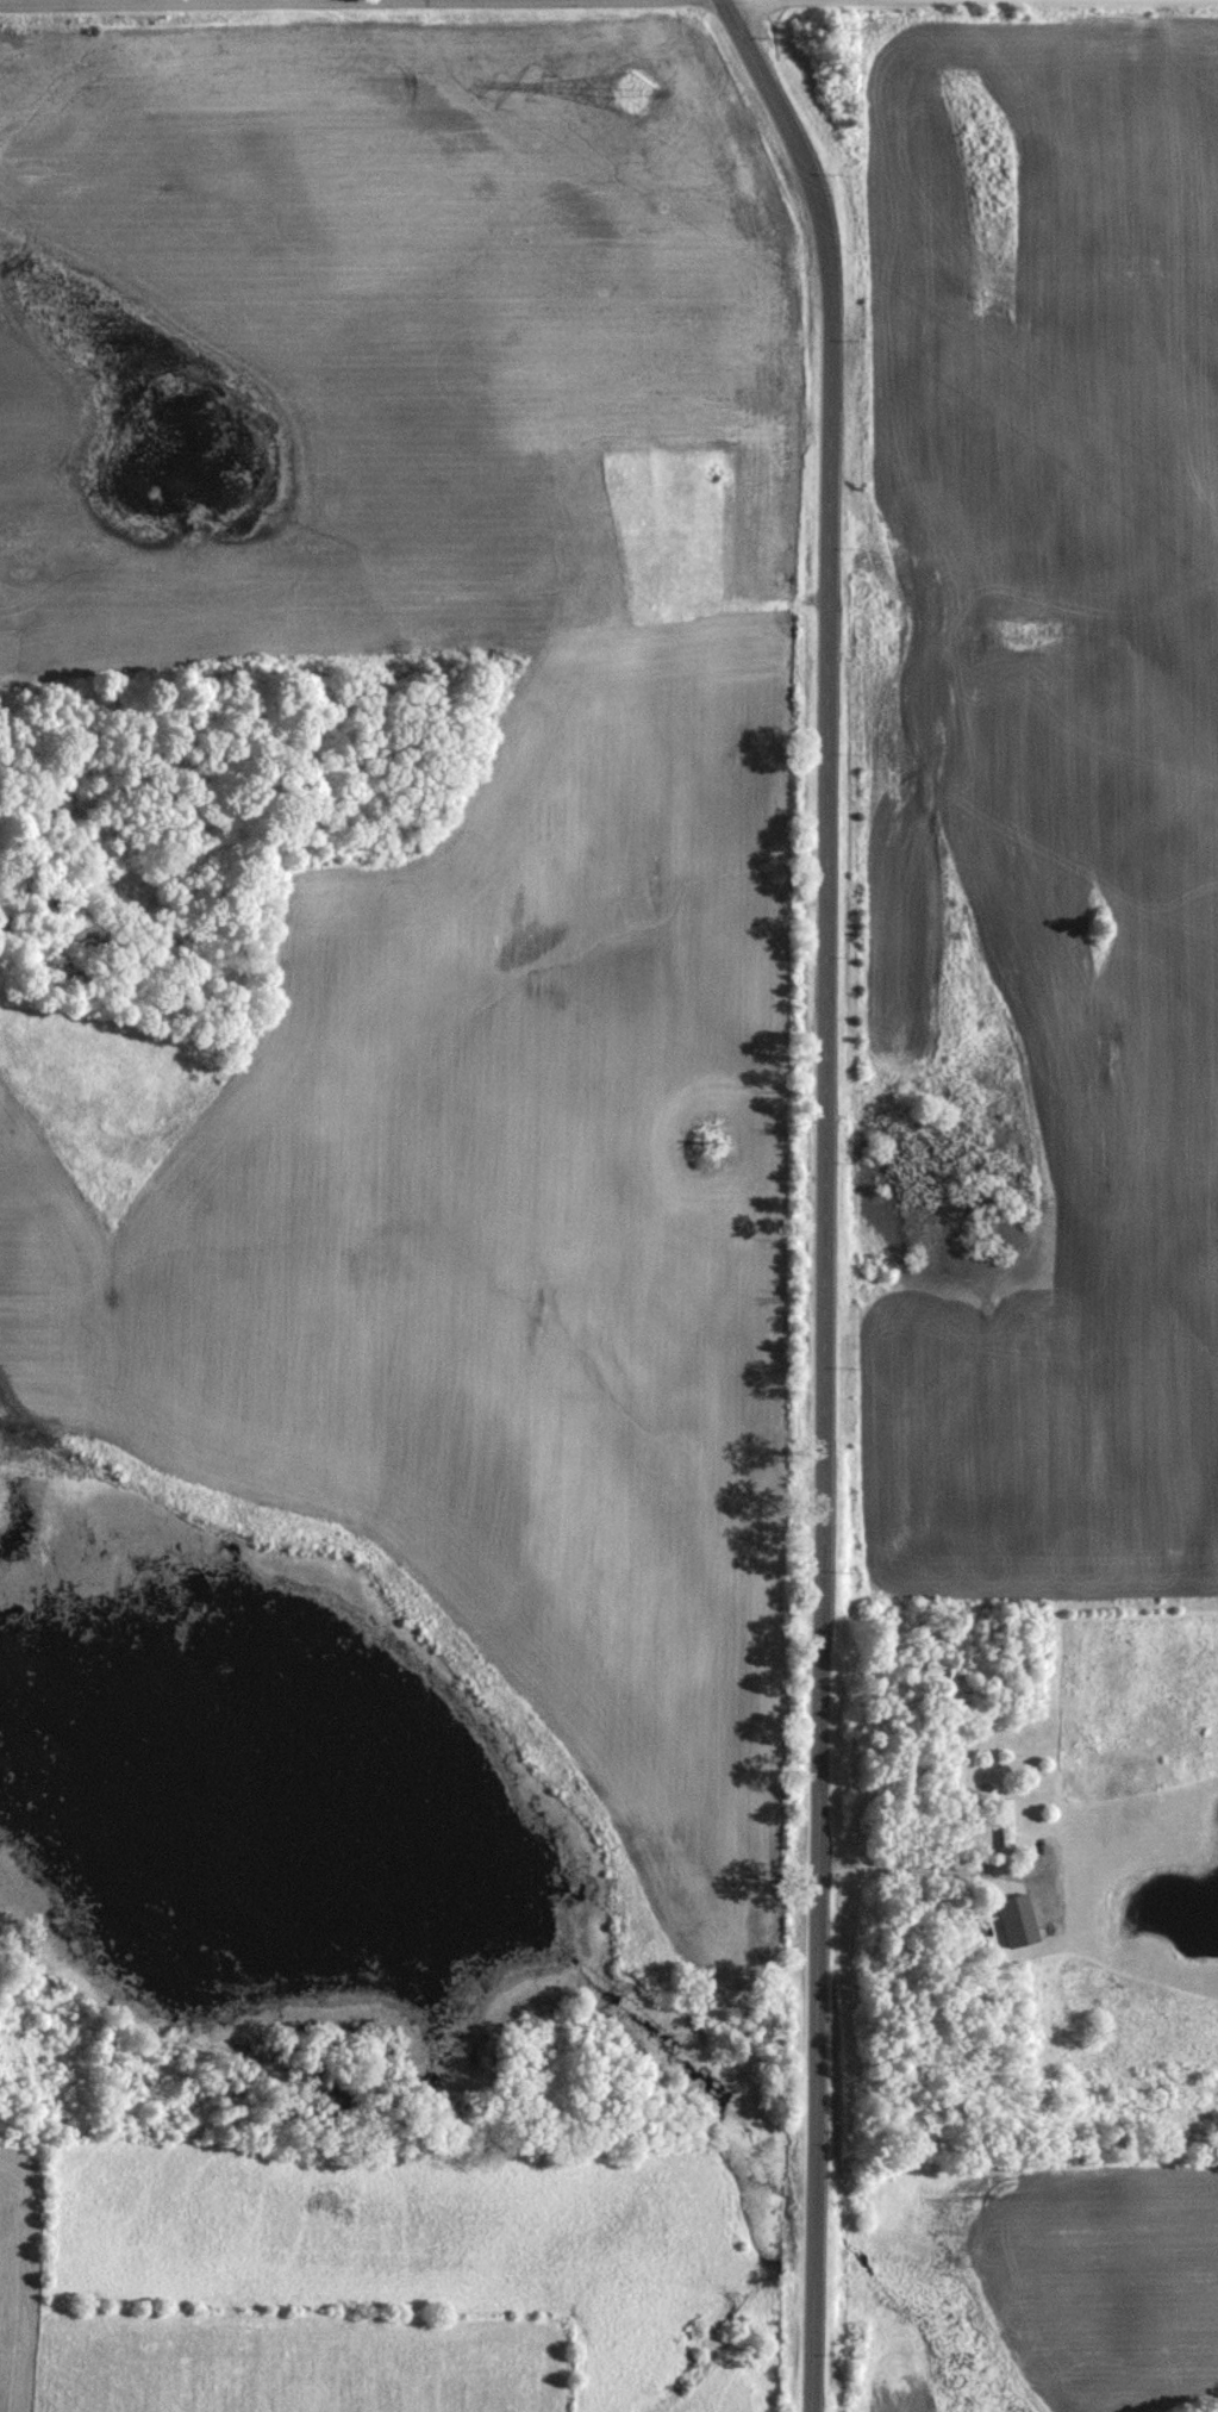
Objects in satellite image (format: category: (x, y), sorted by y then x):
road: (555, 0)
road: (361, 2)
power tower: (630, 98)
road: (825, 1193)
building: (1002, 1825)
road: (927, 1863)

